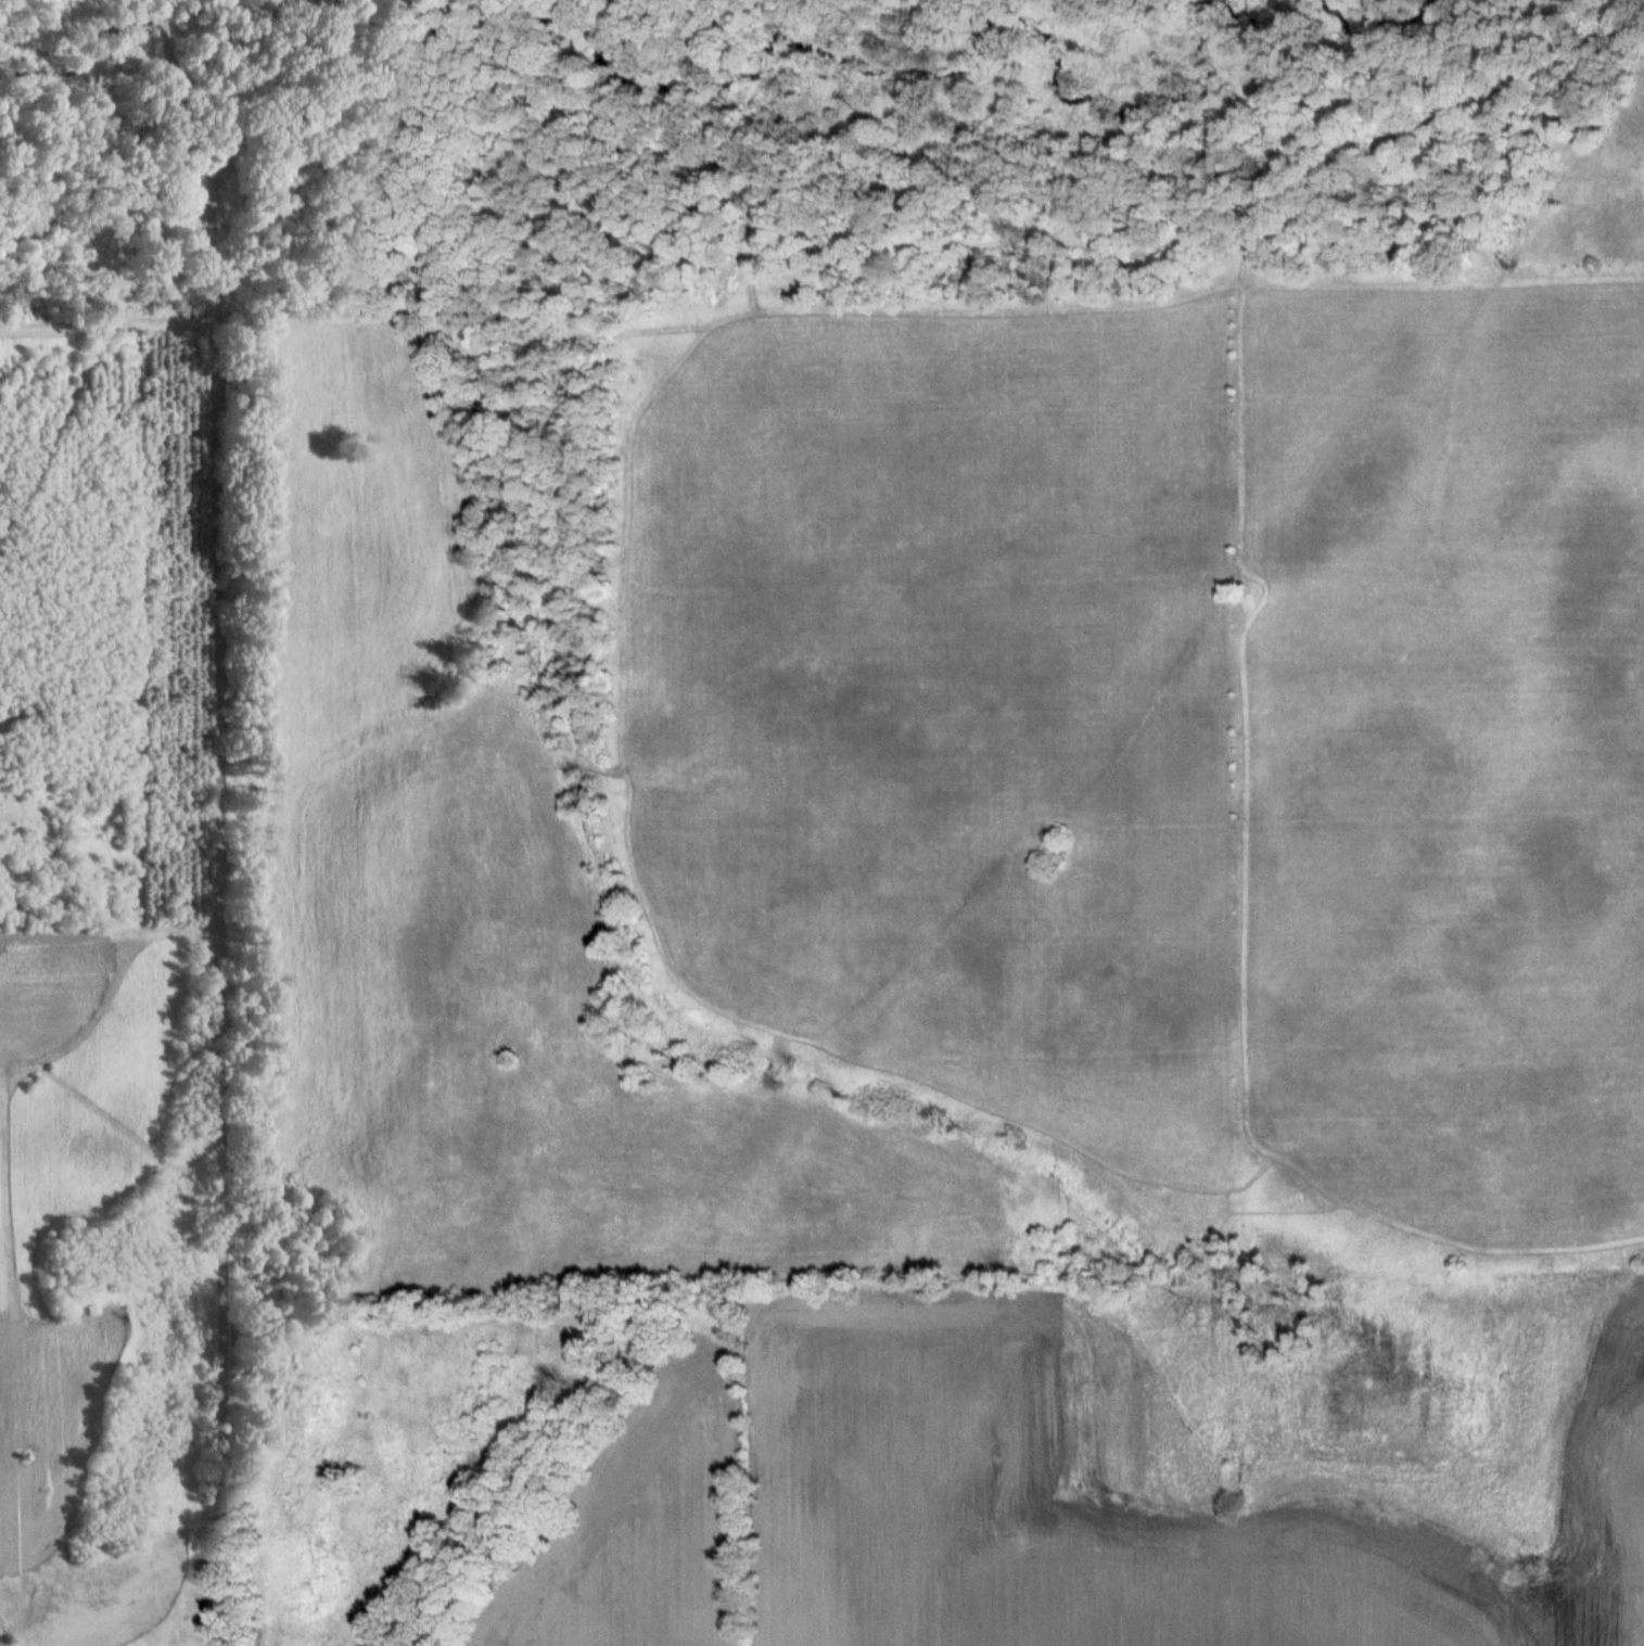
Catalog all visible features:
road: (220, 815)

